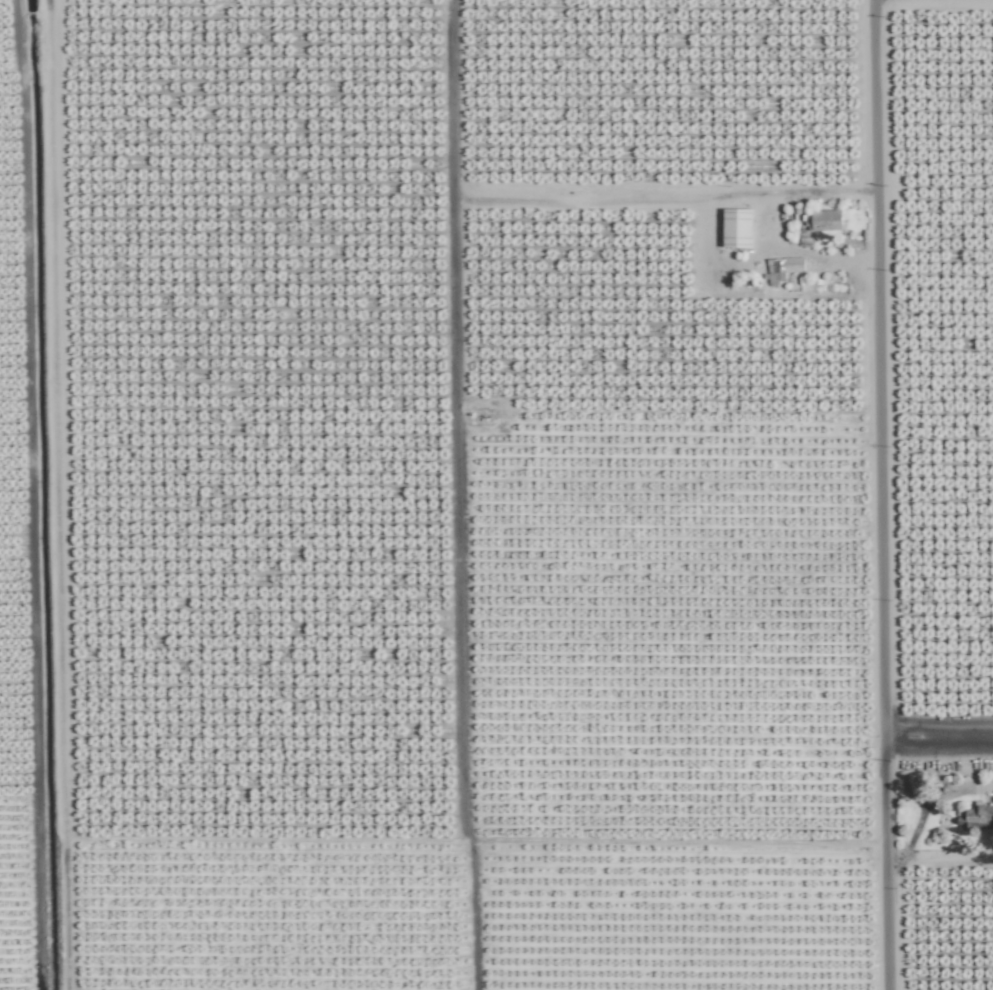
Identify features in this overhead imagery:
building: (825, 220)
building: (737, 227)
road: (760, 227)
road: (869, 495)
road: (932, 736)
building: (976, 817)

